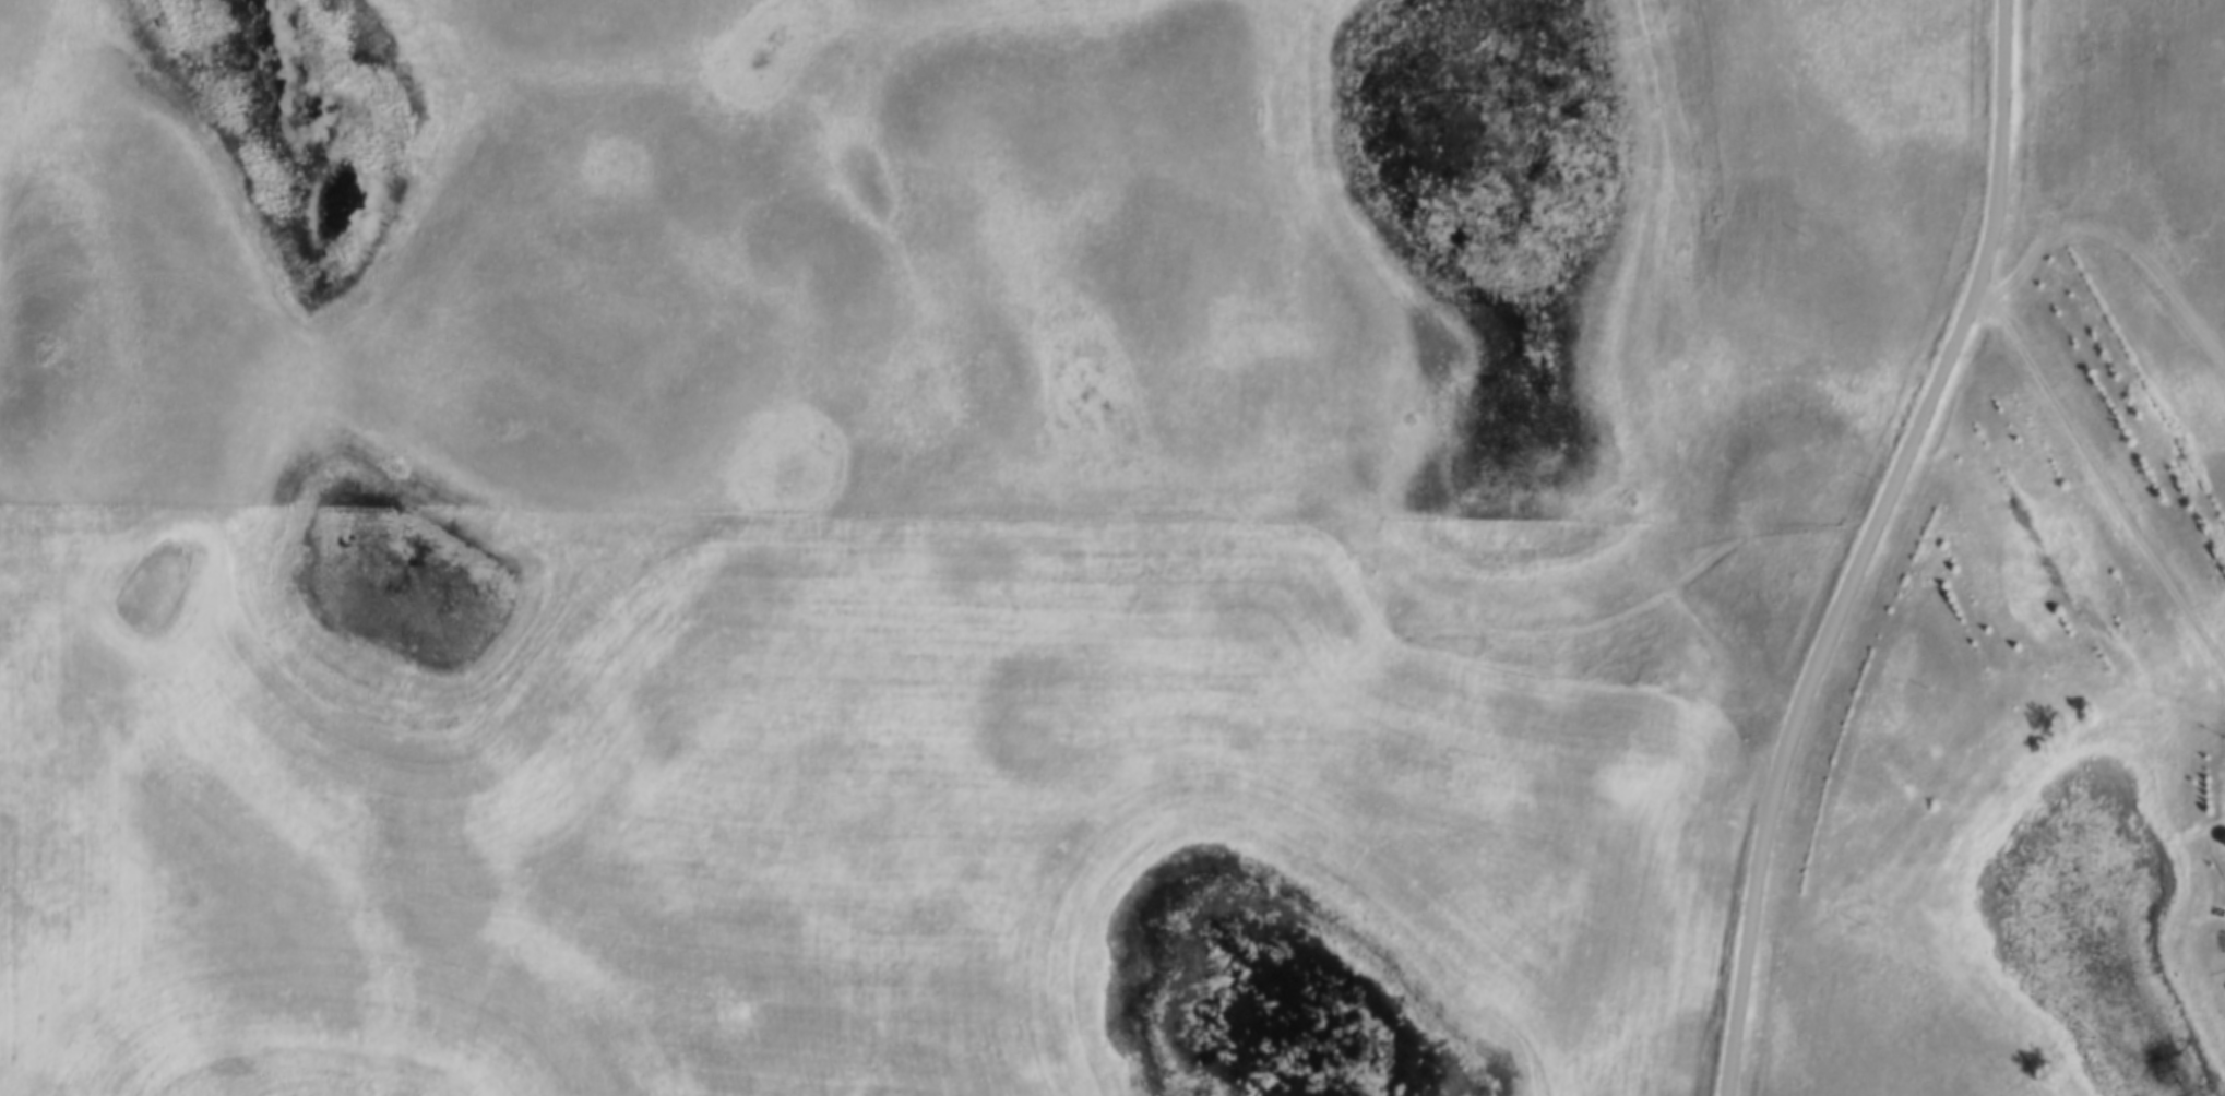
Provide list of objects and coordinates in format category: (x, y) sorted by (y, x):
road: (2101, 474)
road: (1866, 546)

